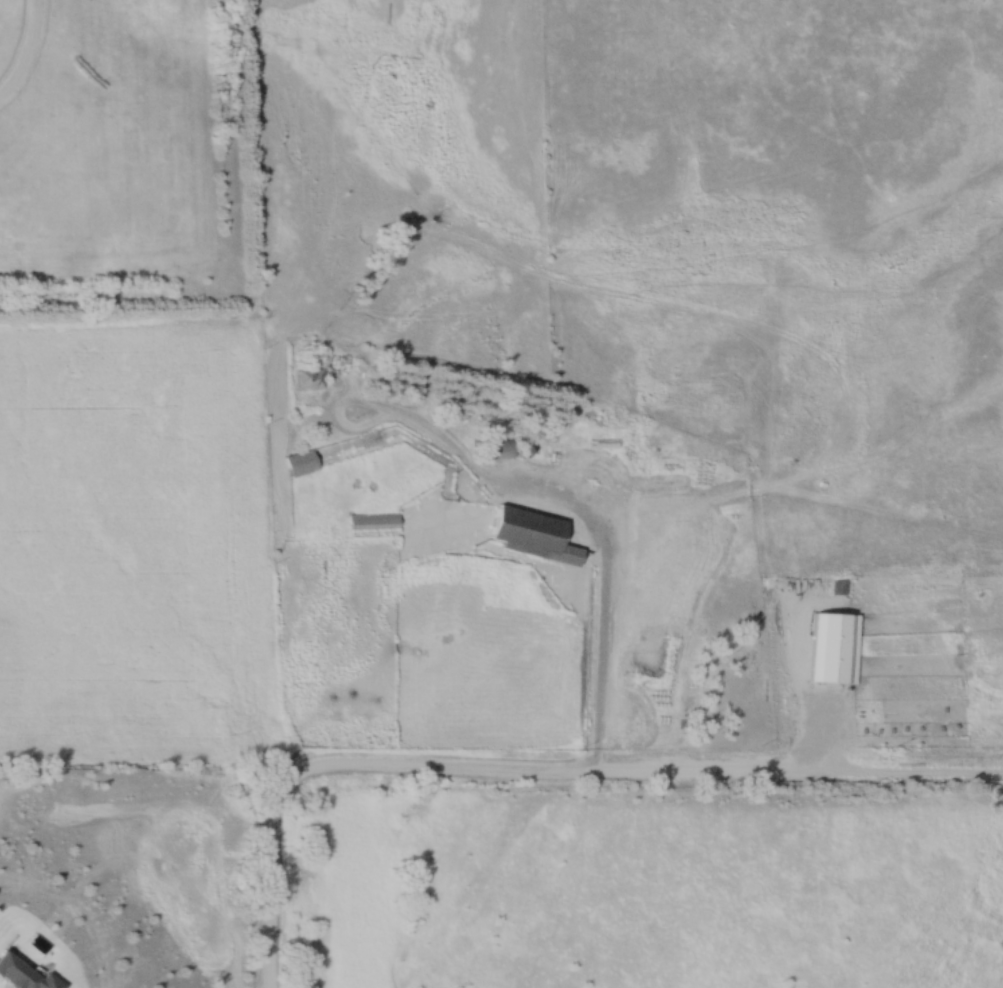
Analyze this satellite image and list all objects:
road: (26, 52)
building: (308, 380)
road: (362, 407)
building: (301, 463)
building: (373, 521)
building: (537, 535)
road: (594, 538)
road: (541, 776)
building: (20, 972)

